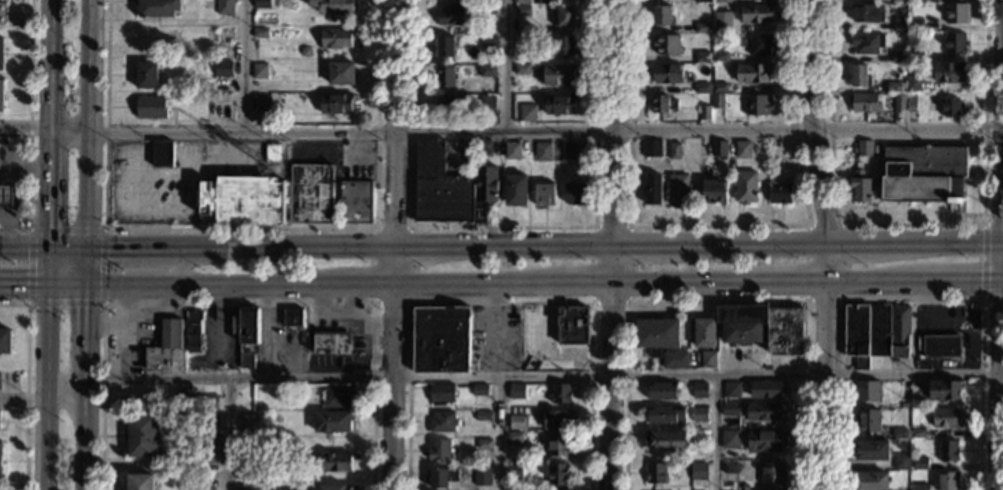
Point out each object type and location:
building: (899, 0)
building: (704, 1)
building: (722, 1)
building: (522, 2)
building: (265, 3)
building: (225, 6)
building: (158, 7)
building: (332, 7)
building: (488, 9)
building: (522, 9)
building: (757, 12)
building: (867, 12)
building: (957, 13)
building: (2, 14)
building: (451, 14)
building: (562, 14)
building: (661, 15)
building: (722, 18)
building: (899, 24)
building: (916, 24)
building: (703, 27)
building: (721, 27)
building: (259, 32)
building: (336, 37)
building: (523, 38)
building: (487, 39)
building: (956, 42)
building: (666, 43)
building: (867, 43)
building: (563, 44)
building: (760, 45)
building: (444, 46)
building: (1, 54)
building: (898, 55)
building: (915, 55)
building: (721, 56)
building: (703, 57)
road: (47, 65)
road: (87, 66)
road: (245, 66)
road: (503, 66)
building: (224, 68)
building: (521, 69)
building: (259, 70)
building: (488, 70)
building: (950, 70)
building: (341, 71)
building: (753, 72)
building: (558, 73)
building: (668, 73)
building: (146, 74)
building: (445, 75)
building: (859, 76)
building: (913, 83)
building: (893, 86)
building: (702, 87)
building: (720, 87)
building: (1, 93)
building: (718, 100)
building: (899, 101)
building: (261, 102)
building: (865, 102)
building: (912, 102)
building: (335, 103)
building: (486, 103)
building: (558, 103)
building: (662, 103)
building: (449, 104)
building: (758, 105)
building: (951, 106)
building: (151, 107)
building: (224, 112)
building: (528, 112)
building: (705, 112)
road: (811, 120)
road: (613, 121)
road: (392, 122)
road: (23, 128)
road: (30, 129)
road: (66, 131)
road: (108, 133)
road: (566, 133)
building: (864, 146)
road: (224, 147)
building: (484, 147)
building: (652, 148)
building: (720, 148)
building: (743, 148)
road: (46, 149)
building: (512, 149)
building: (543, 150)
building: (675, 150)
building: (569, 151)
road: (129, 153)
building: (271, 153)
building: (161, 154)
road: (218, 162)
building: (924, 171)
road: (177, 173)
road: (10, 174)
parking lot: (173, 177)
road: (1002, 184)
building: (860, 185)
road: (20, 186)
building: (450, 187)
building: (746, 187)
building: (652, 188)
building: (678, 188)
road: (86, 189)
building: (515, 189)
building: (714, 191)
building: (779, 192)
building: (311, 193)
building: (544, 193)
building: (575, 194)
building: (6, 197)
building: (244, 200)
building: (356, 202)
road: (145, 205)
road: (45, 206)
traffic signals: (45, 225)
road: (912, 225)
road: (993, 225)
road: (718, 226)
road: (502, 227)
road: (238, 228)
road: (103, 229)
road: (6, 230)
road: (746, 241)
road: (852, 241)
road: (940, 241)
road: (1002, 242)
road: (638, 243)
road: (22, 245)
road: (389, 245)
traffic signals: (45, 246)
road: (65, 246)
traffic signals: (86, 247)
traffic signals: (107, 247)
road: (127, 247)
road: (981, 262)
road: (45, 263)
road: (676, 280)
road: (784, 280)
road: (855, 280)
road: (23, 281)
traffic signals: (26, 281)
traffic signals: (46, 281)
road: (66, 281)
traffic signals: (86, 281)
road: (204, 281)
road: (460, 281)
road: (570, 281)
road: (942, 281)
road: (356, 282)
road: (1002, 282)
road: (842, 300)
road: (852, 300)
road: (717, 301)
road: (992, 301)
road: (626, 303)
road: (237, 304)
road: (409, 304)
road: (501, 304)
traffic signals: (85, 308)
building: (291, 317)
building: (741, 321)
building: (572, 324)
building: (248, 325)
building: (193, 328)
building: (786, 329)
building: (876, 331)
building: (704, 332)
building: (655, 334)
road: (911, 336)
building: (440, 339)
building: (4, 342)
building: (330, 342)
building: (940, 345)
building: (166, 349)
building: (675, 358)
building: (707, 359)
building: (246, 360)
road: (824, 364)
road: (609, 366)
road: (1000, 366)
road: (389, 367)
road: (84, 368)
road: (496, 375)
building: (0, 383)
road: (26, 384)
road: (44, 385)
building: (766, 388)
building: (479, 389)
building: (732, 389)
building: (945, 389)
building: (700, 390)
building: (867, 390)
building: (516, 391)
building: (661, 391)
building: (918, 393)
building: (440, 394)
building: (559, 394)
road: (1001, 394)
building: (338, 396)
building: (197, 400)
building: (730, 409)
building: (765, 410)
building: (699, 414)
building: (483, 415)
building: (666, 415)
building: (946, 417)
building: (557, 418)
building: (331, 420)
building: (867, 420)
building: (443, 421)
building: (516, 421)
building: (248, 423)
building: (209, 430)
road: (712, 431)
road: (501, 432)
building: (917, 432)
road: (228, 433)
building: (899, 433)
building: (141, 435)
building: (514, 436)
building: (730, 438)
building: (665, 439)
building: (764, 440)
building: (484, 443)
building: (557, 445)
building: (870, 449)
building: (440, 450)
building: (948, 451)
building: (0, 458)
building: (335, 462)
building: (901, 462)
building: (920, 463)
building: (729, 467)
building: (513, 470)
building: (698, 470)
building: (772, 472)
building: (655, 473)
building: (557, 474)
building: (482, 475)
building: (441, 476)
building: (869, 480)
building: (947, 480)
building: (139, 481)
building: (335, 486)
building: (919, 486)
building: (244, 487)

